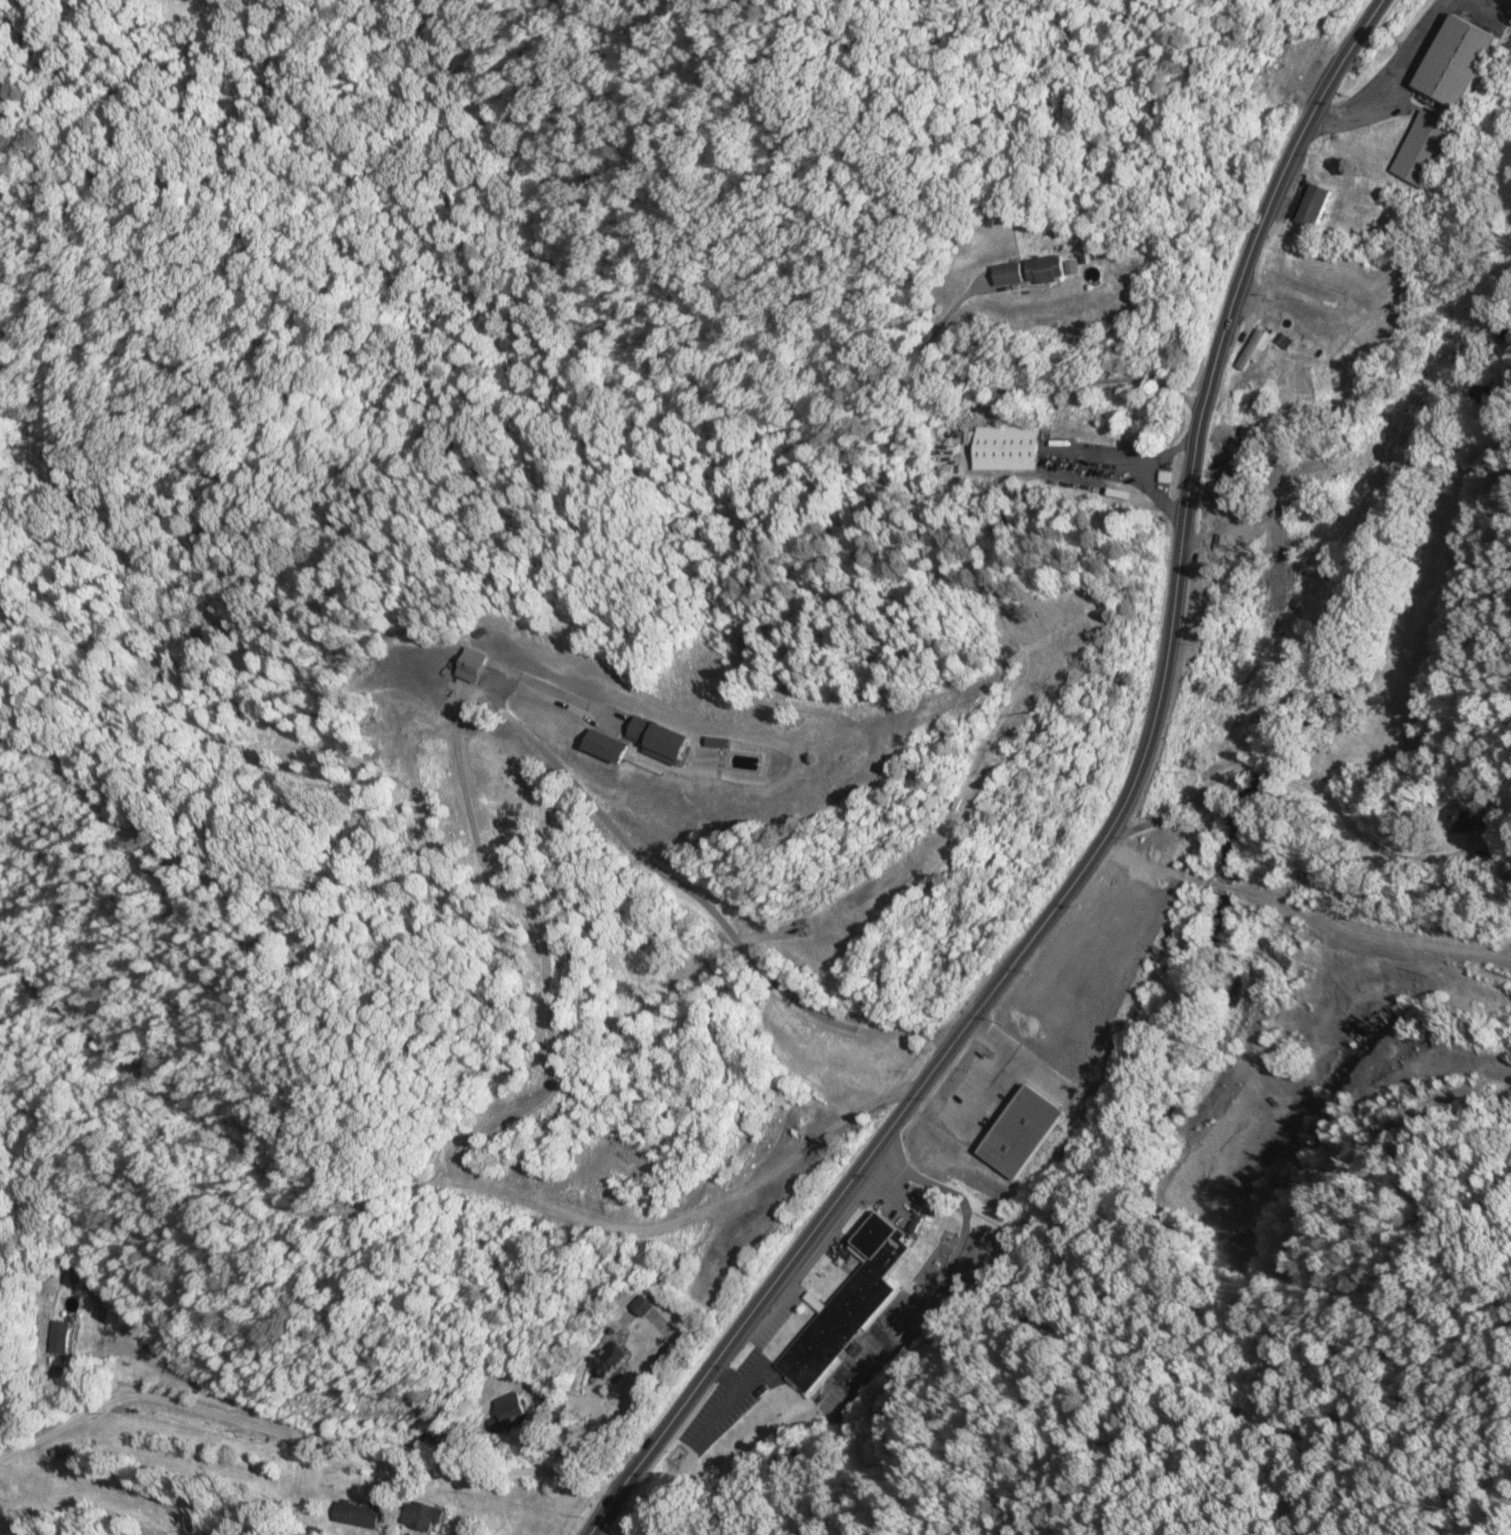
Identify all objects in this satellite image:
building: (1455, 61)
building: (1283, 69)
building: (1424, 148)
building: (1313, 205)
road: (998, 209)
building: (1044, 268)
building: (1007, 273)
building: (1285, 341)
building: (1252, 349)
building: (1065, 433)
building: (1002, 447)
building: (656, 739)
building: (603, 746)
road: (1262, 770)
road: (1180, 803)
building: (1459, 817)
road: (1105, 826)
road: (1361, 837)
building: (1275, 956)
river: (1207, 959)
road: (1021, 1057)
road: (986, 1092)
parking lot: (983, 1100)
building: (1023, 1130)
building: (643, 1303)
building: (845, 1305)
building: (61, 1332)
building: (609, 1360)
building: (509, 1409)
building: (357, 1515)
building: (422, 1516)

